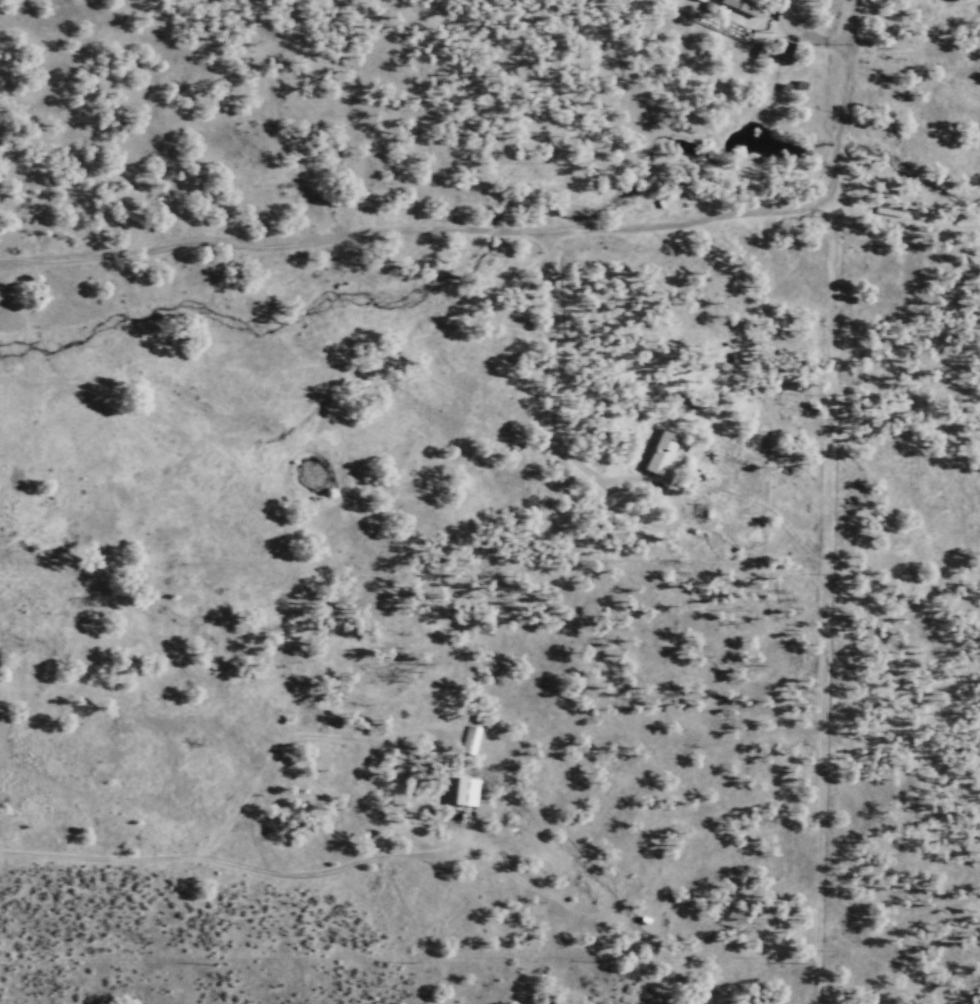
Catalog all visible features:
building: (744, 6)
road: (413, 247)
building: (661, 452)
building: (464, 792)

